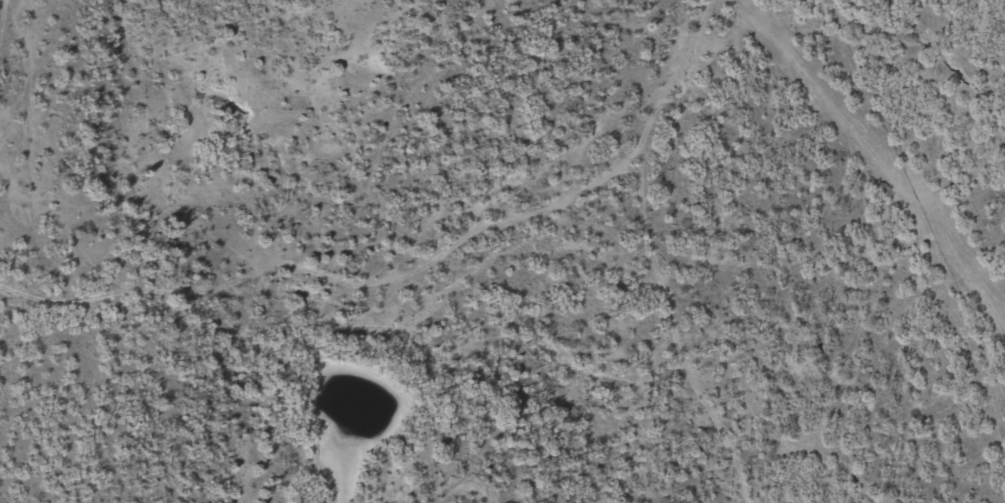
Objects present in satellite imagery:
road: (38, 70)
road: (79, 182)

